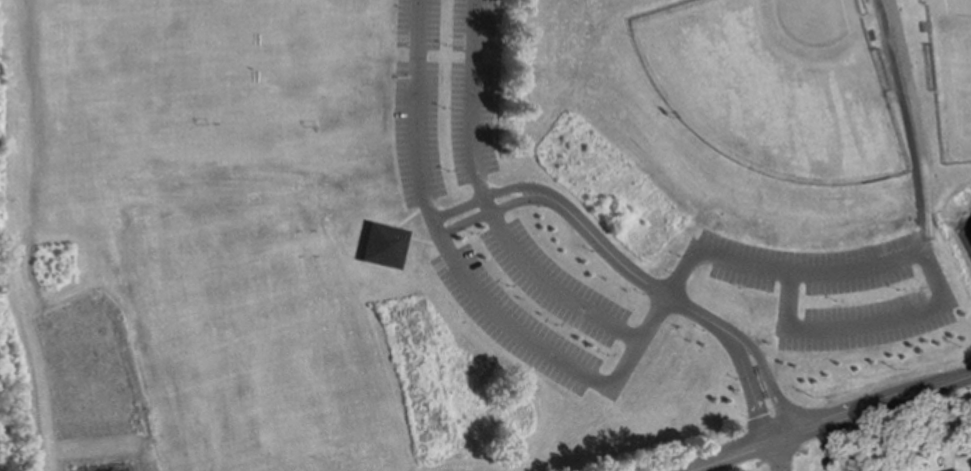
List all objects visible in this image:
road: (436, 227)
park: (474, 227)
building: (382, 246)
road: (913, 257)
road: (631, 273)
road: (654, 321)
road: (742, 347)
road: (608, 386)
road: (836, 425)
road: (781, 457)

